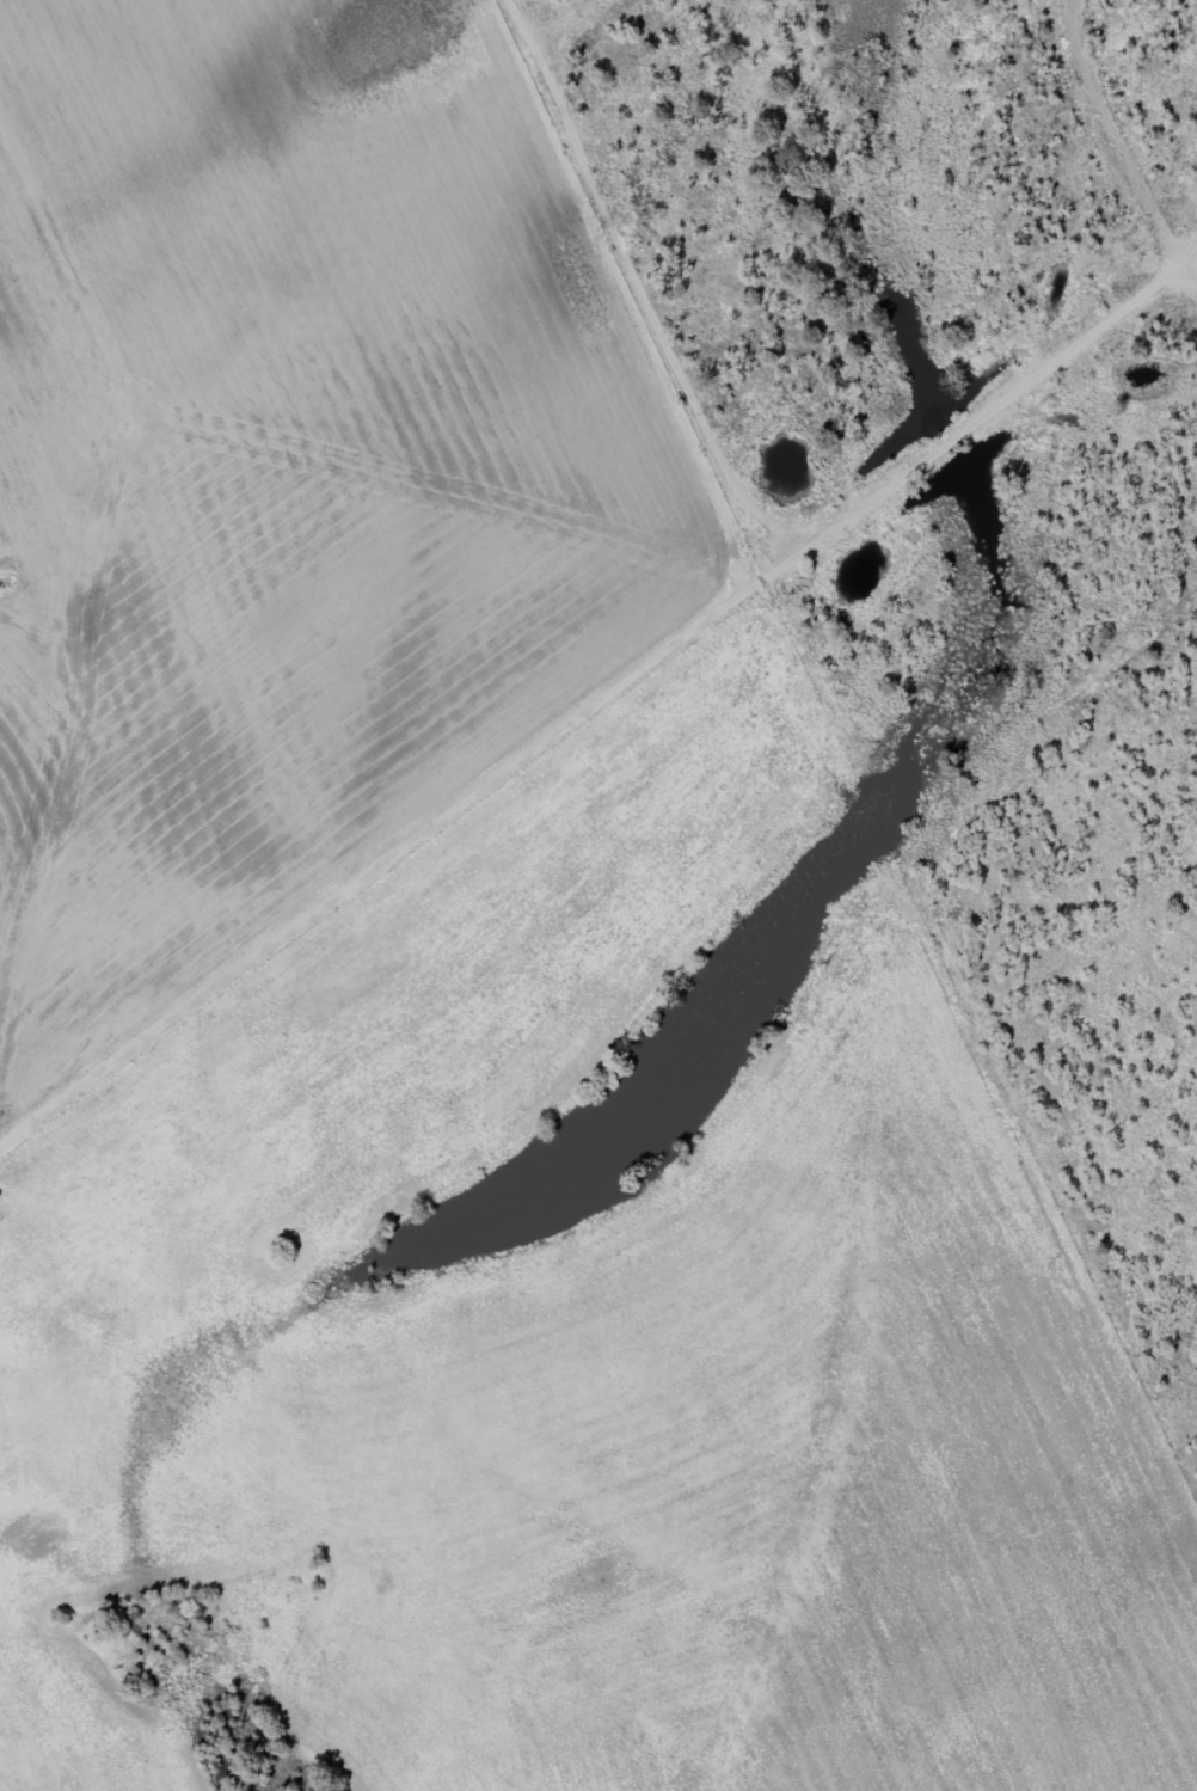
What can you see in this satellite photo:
road: (1121, 145)
railway: (598, 742)

